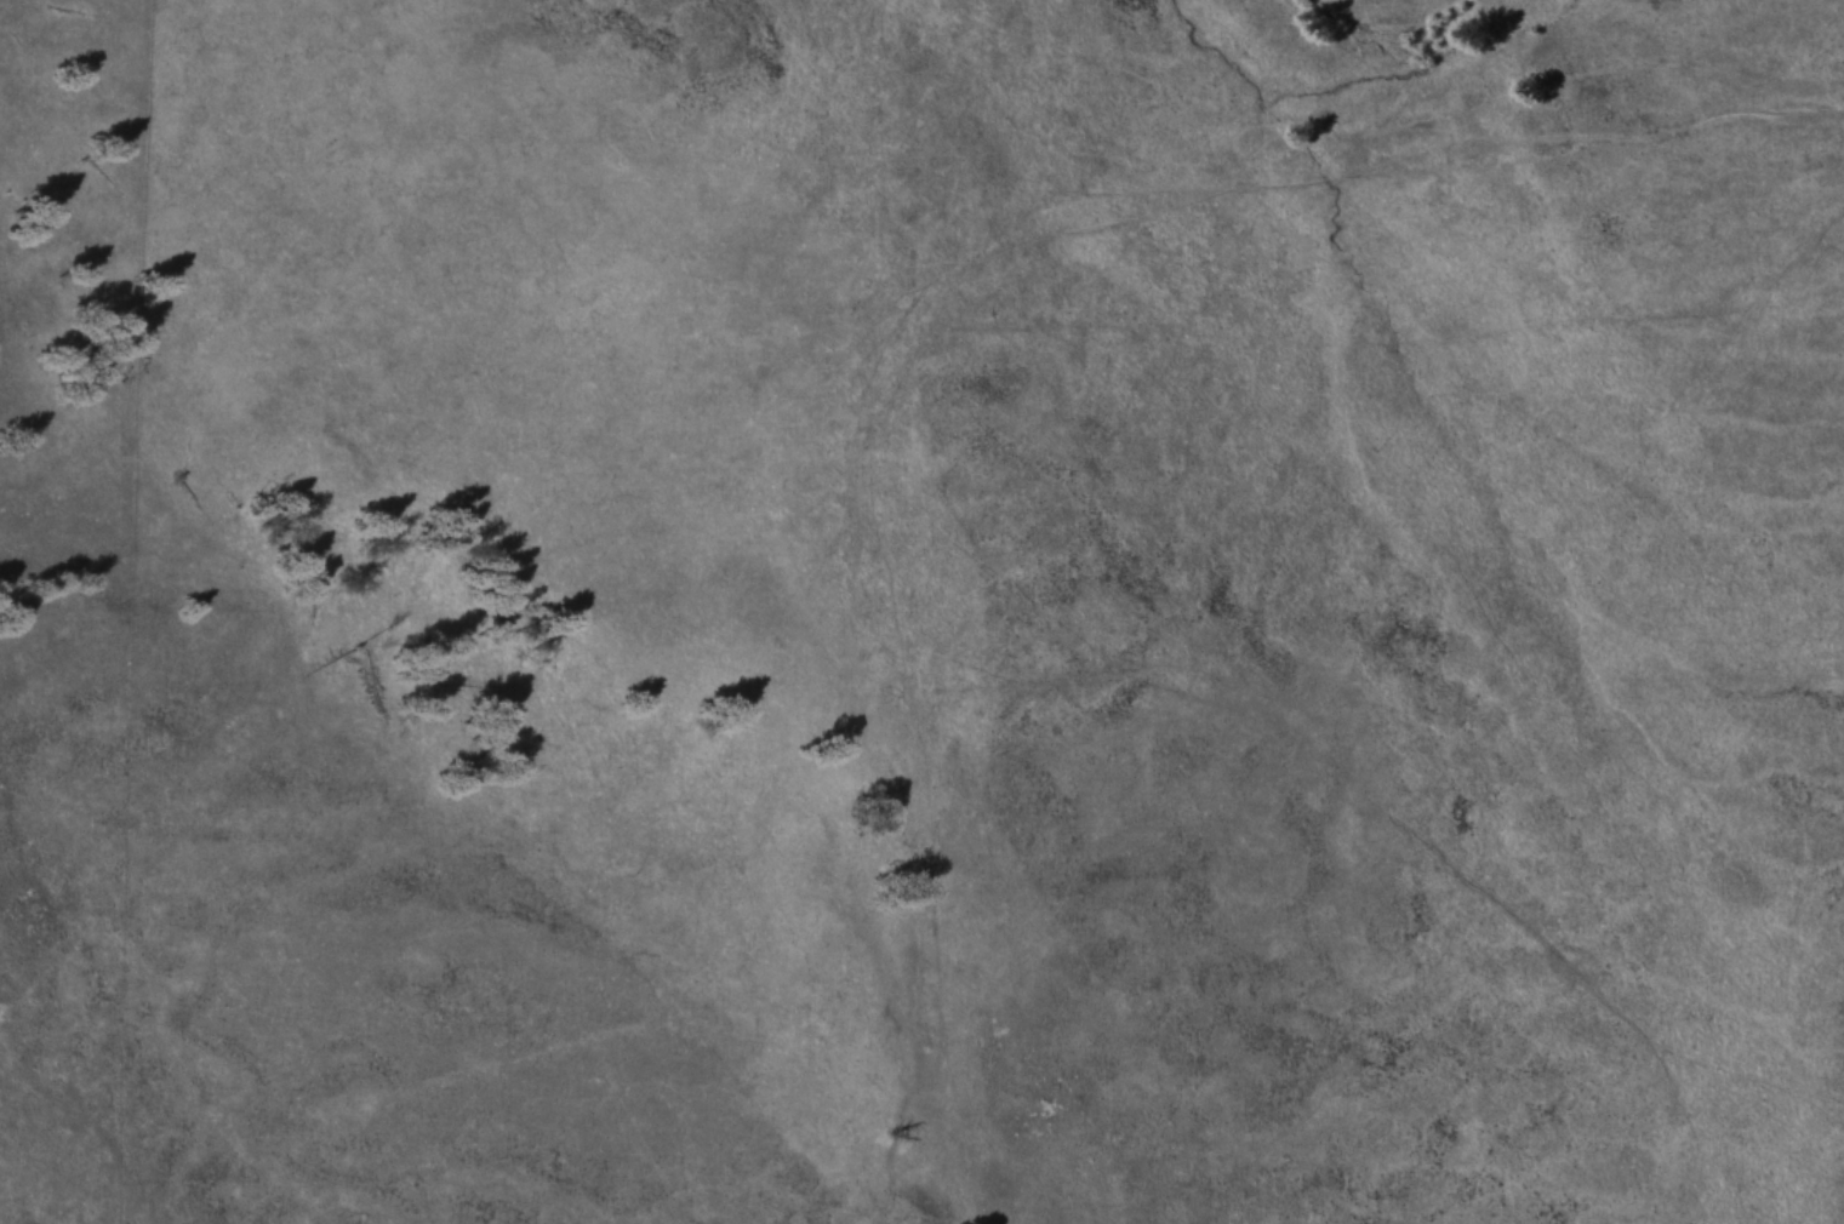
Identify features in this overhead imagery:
road: (1758, 6)

